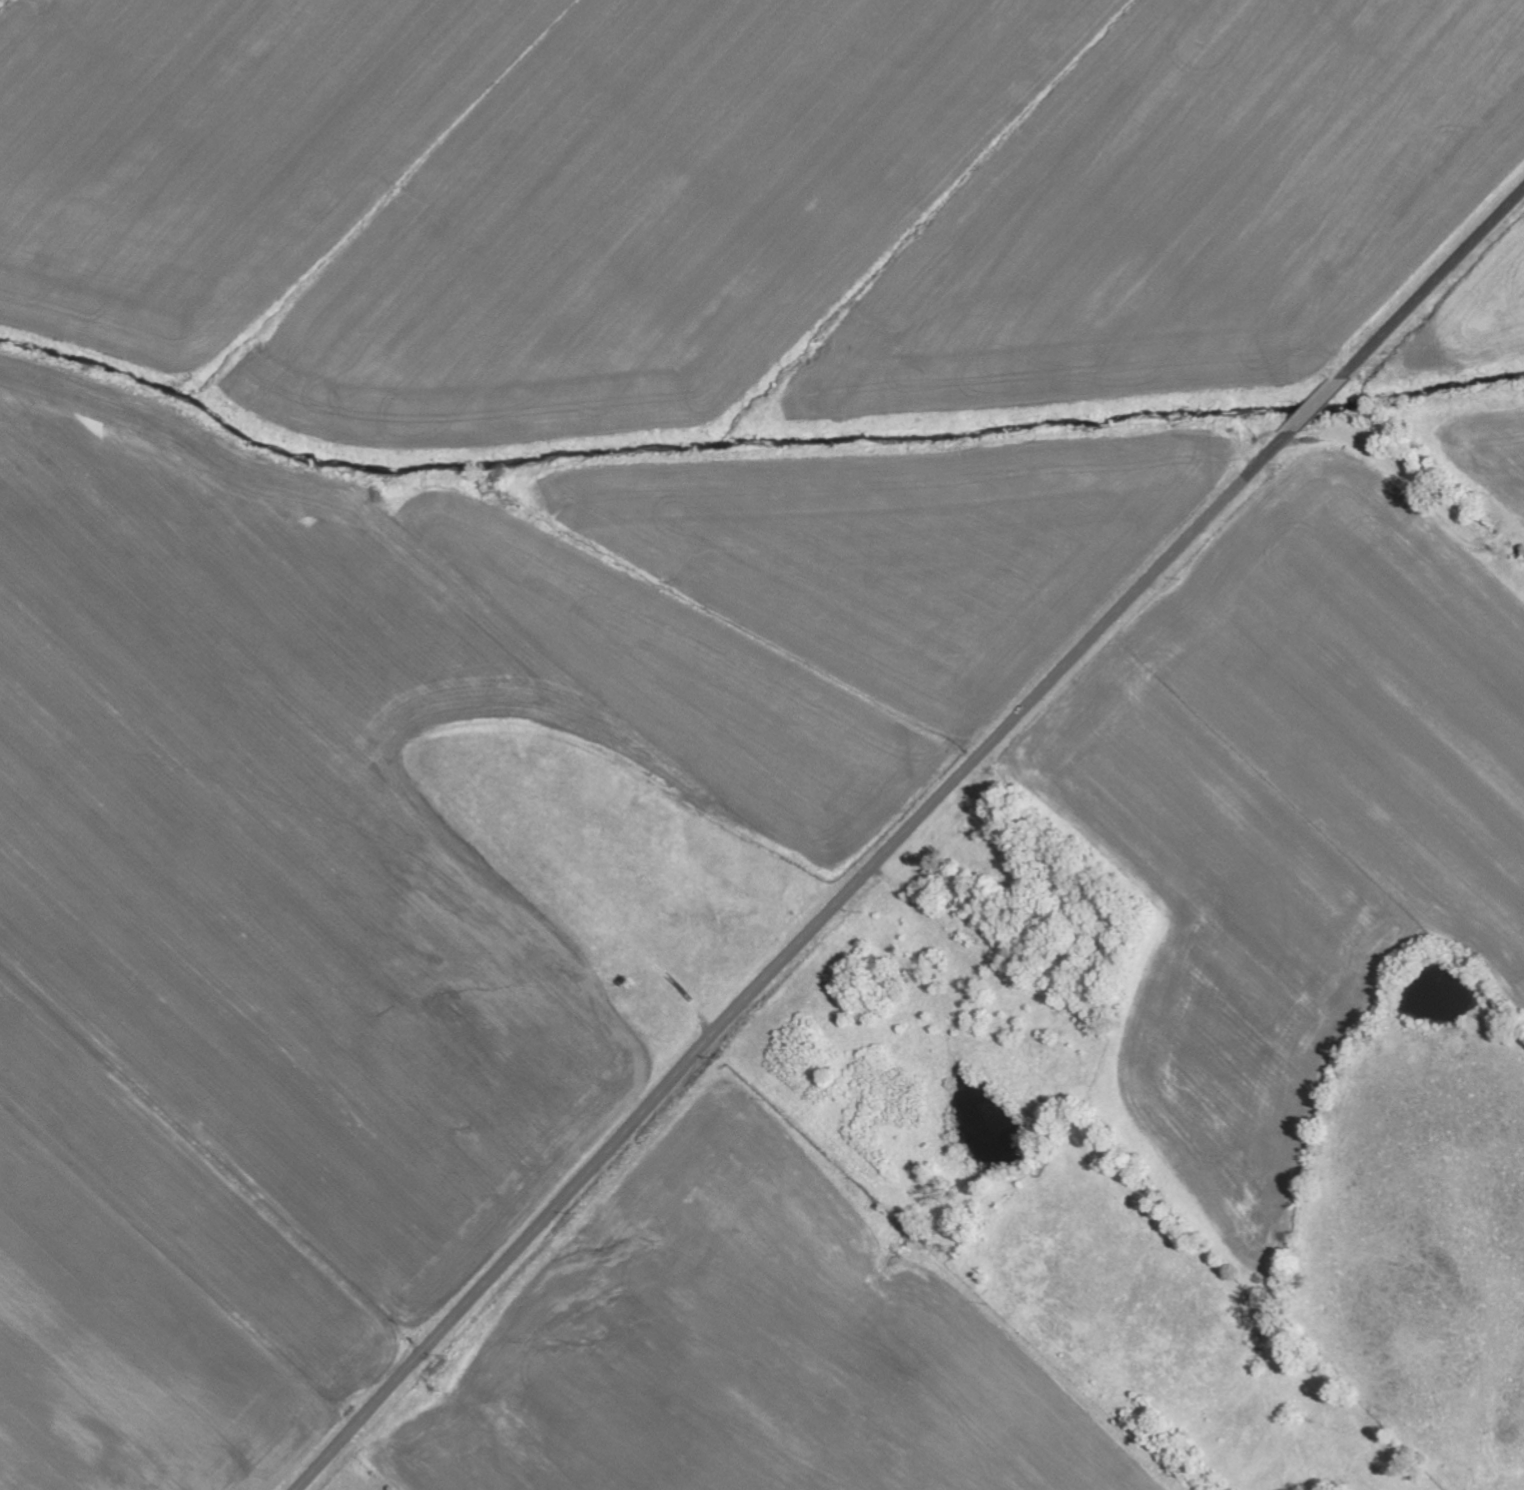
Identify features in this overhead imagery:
road: (904, 834)

